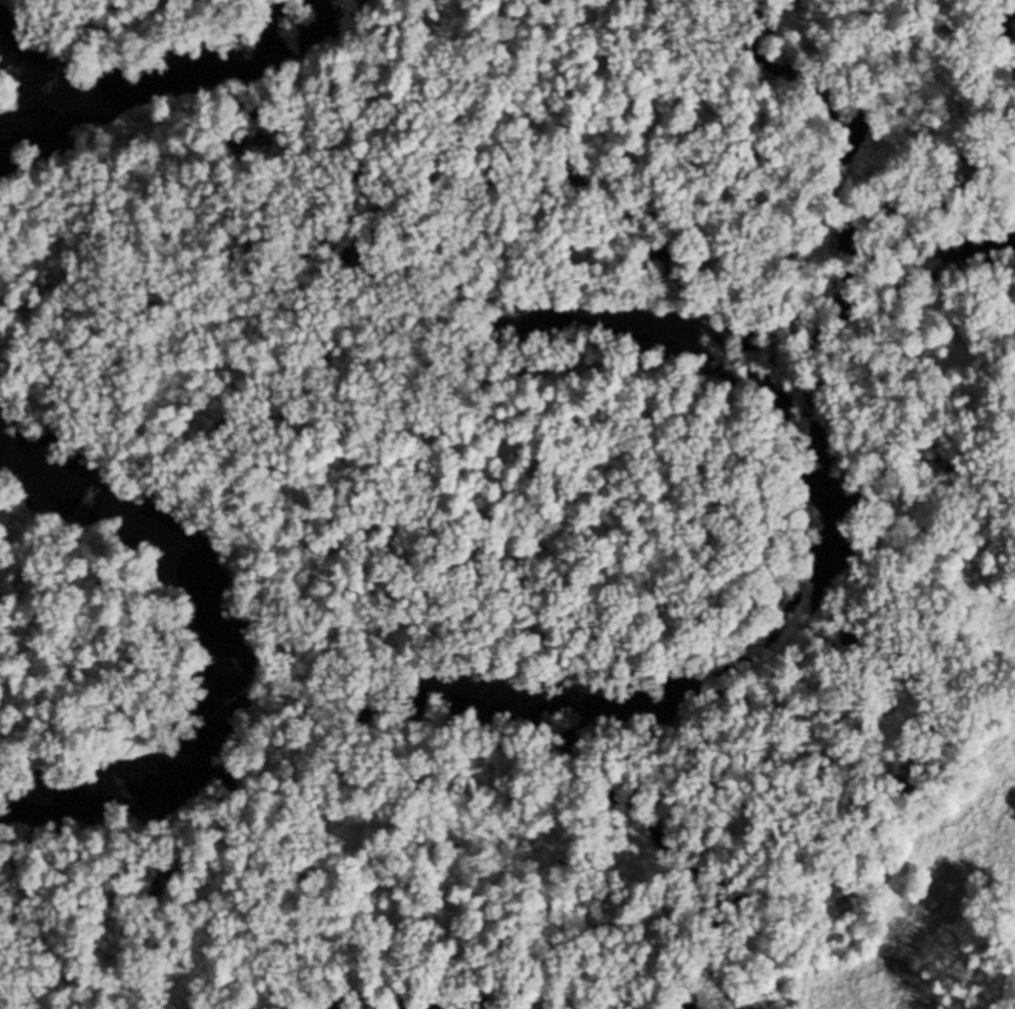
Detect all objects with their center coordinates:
river: (39, 46)
river: (9, 956)

